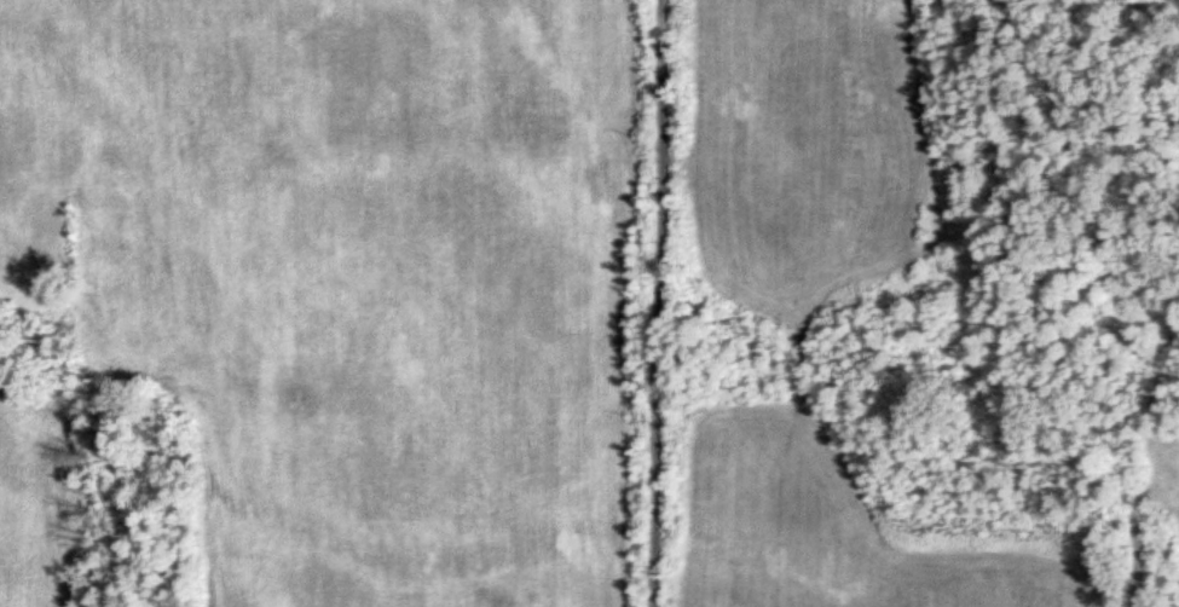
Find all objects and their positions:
road: (658, 303)

